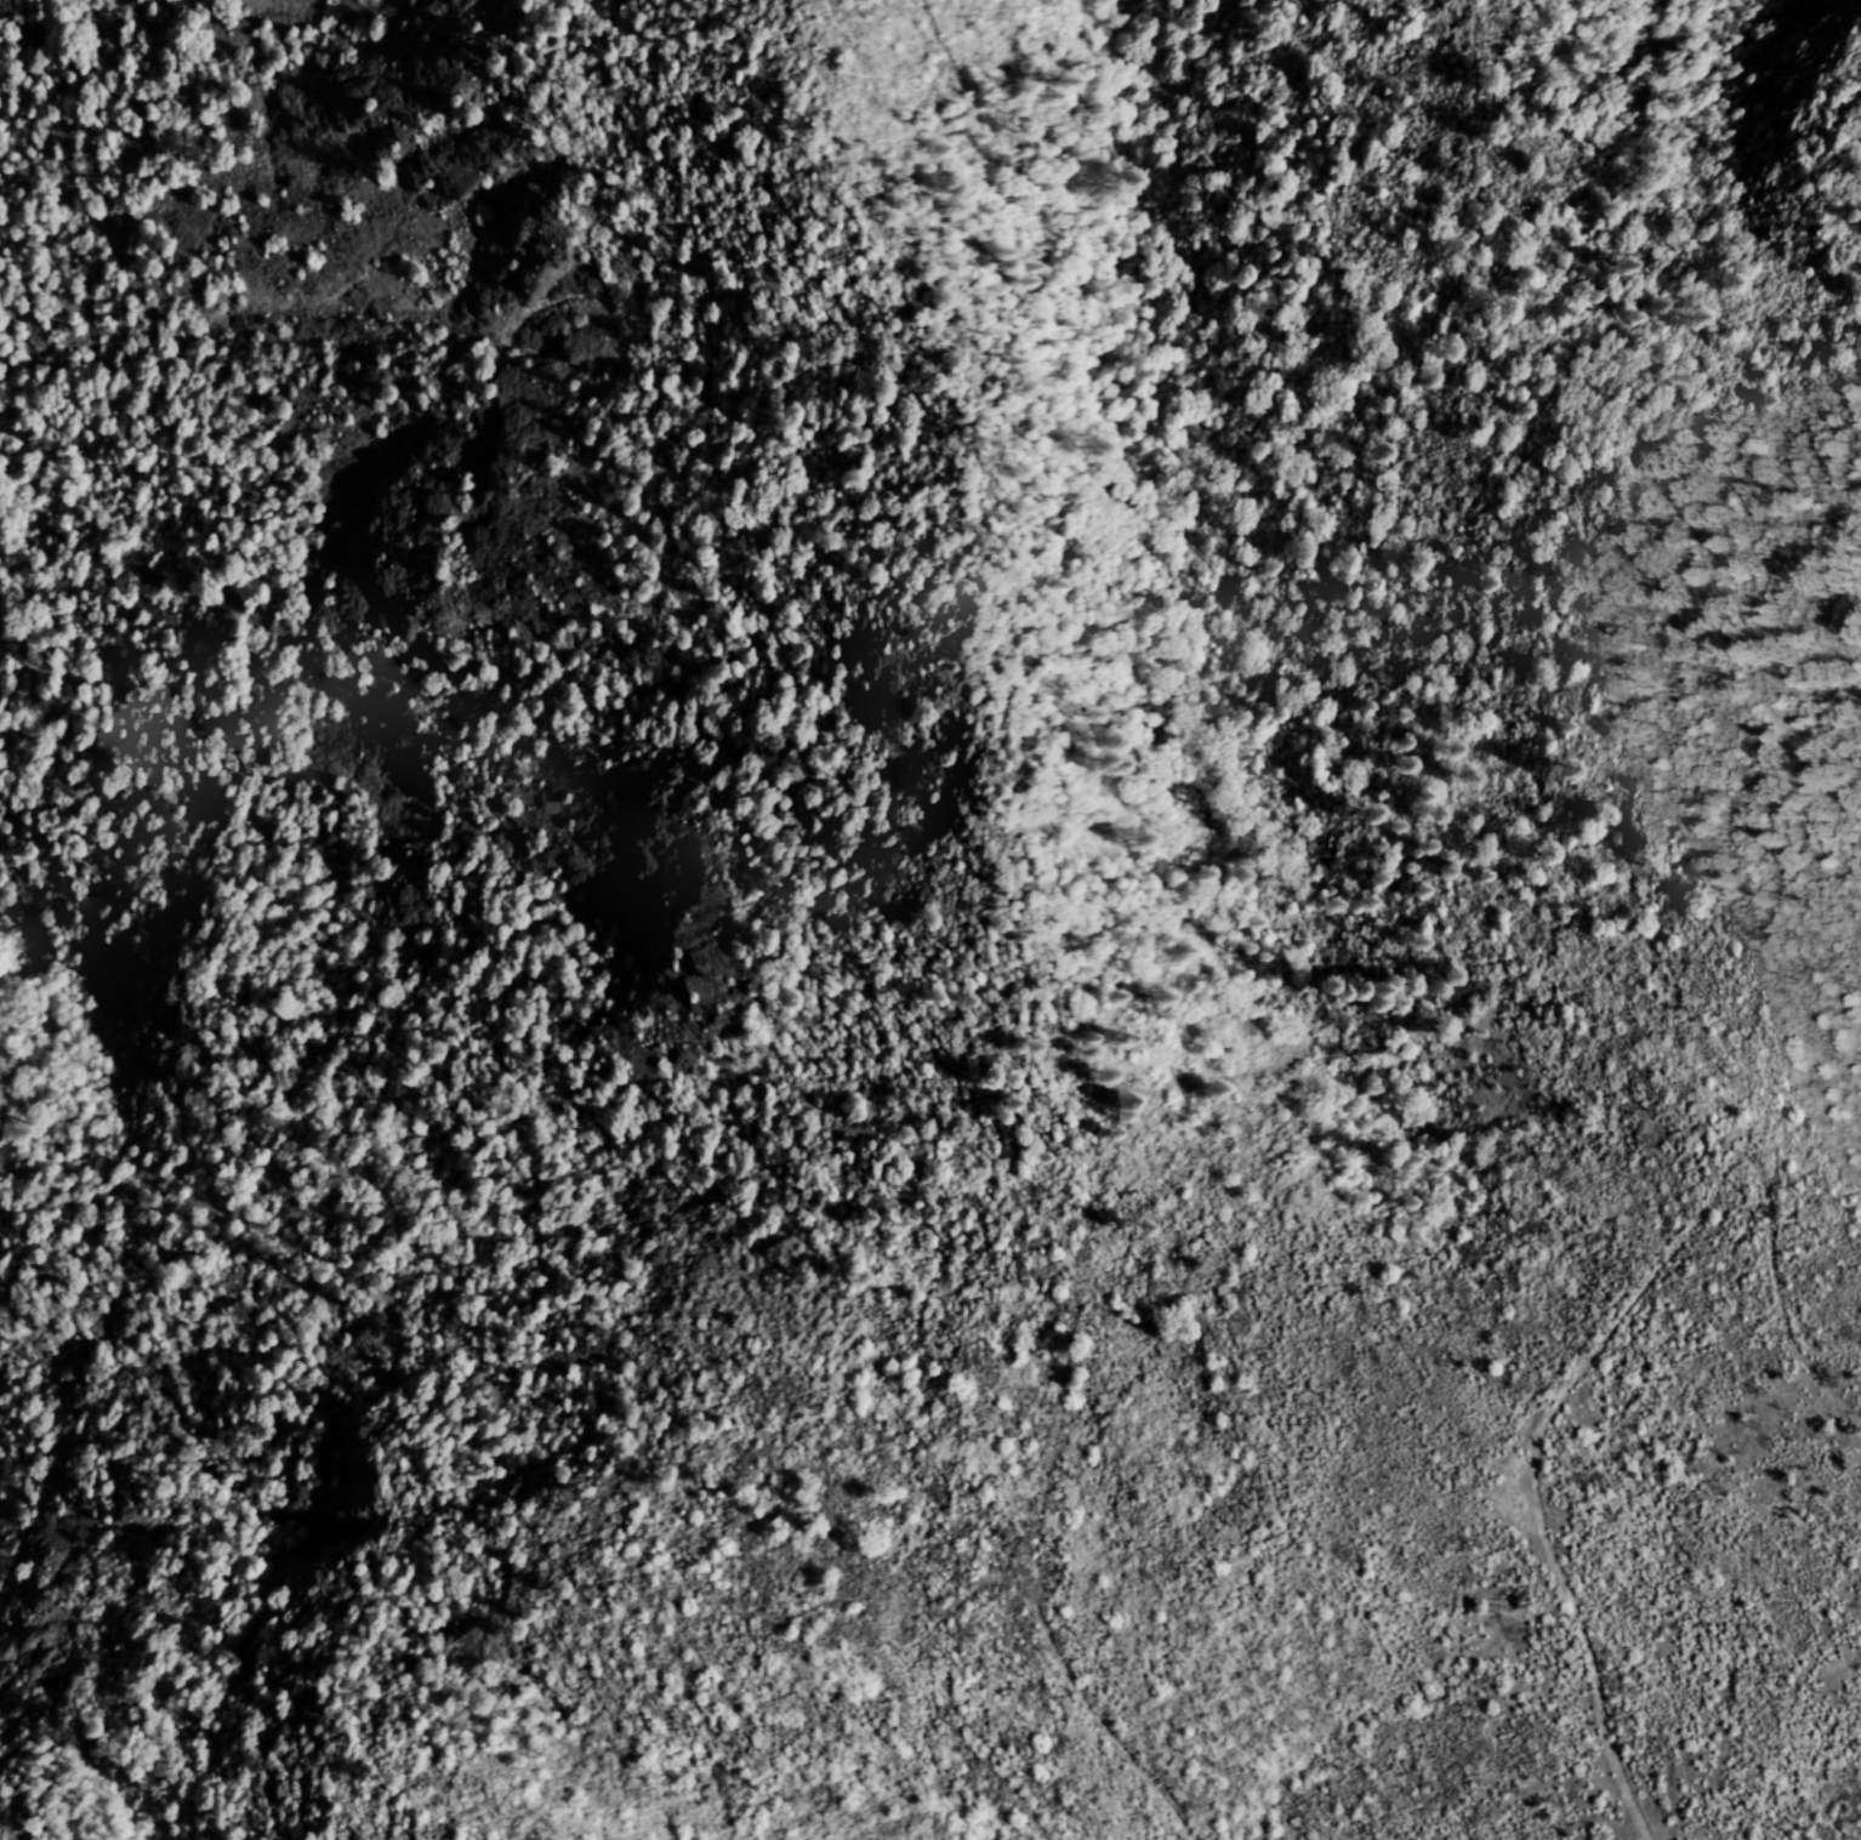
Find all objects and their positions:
road: (1284, 963)
road: (997, 1756)

